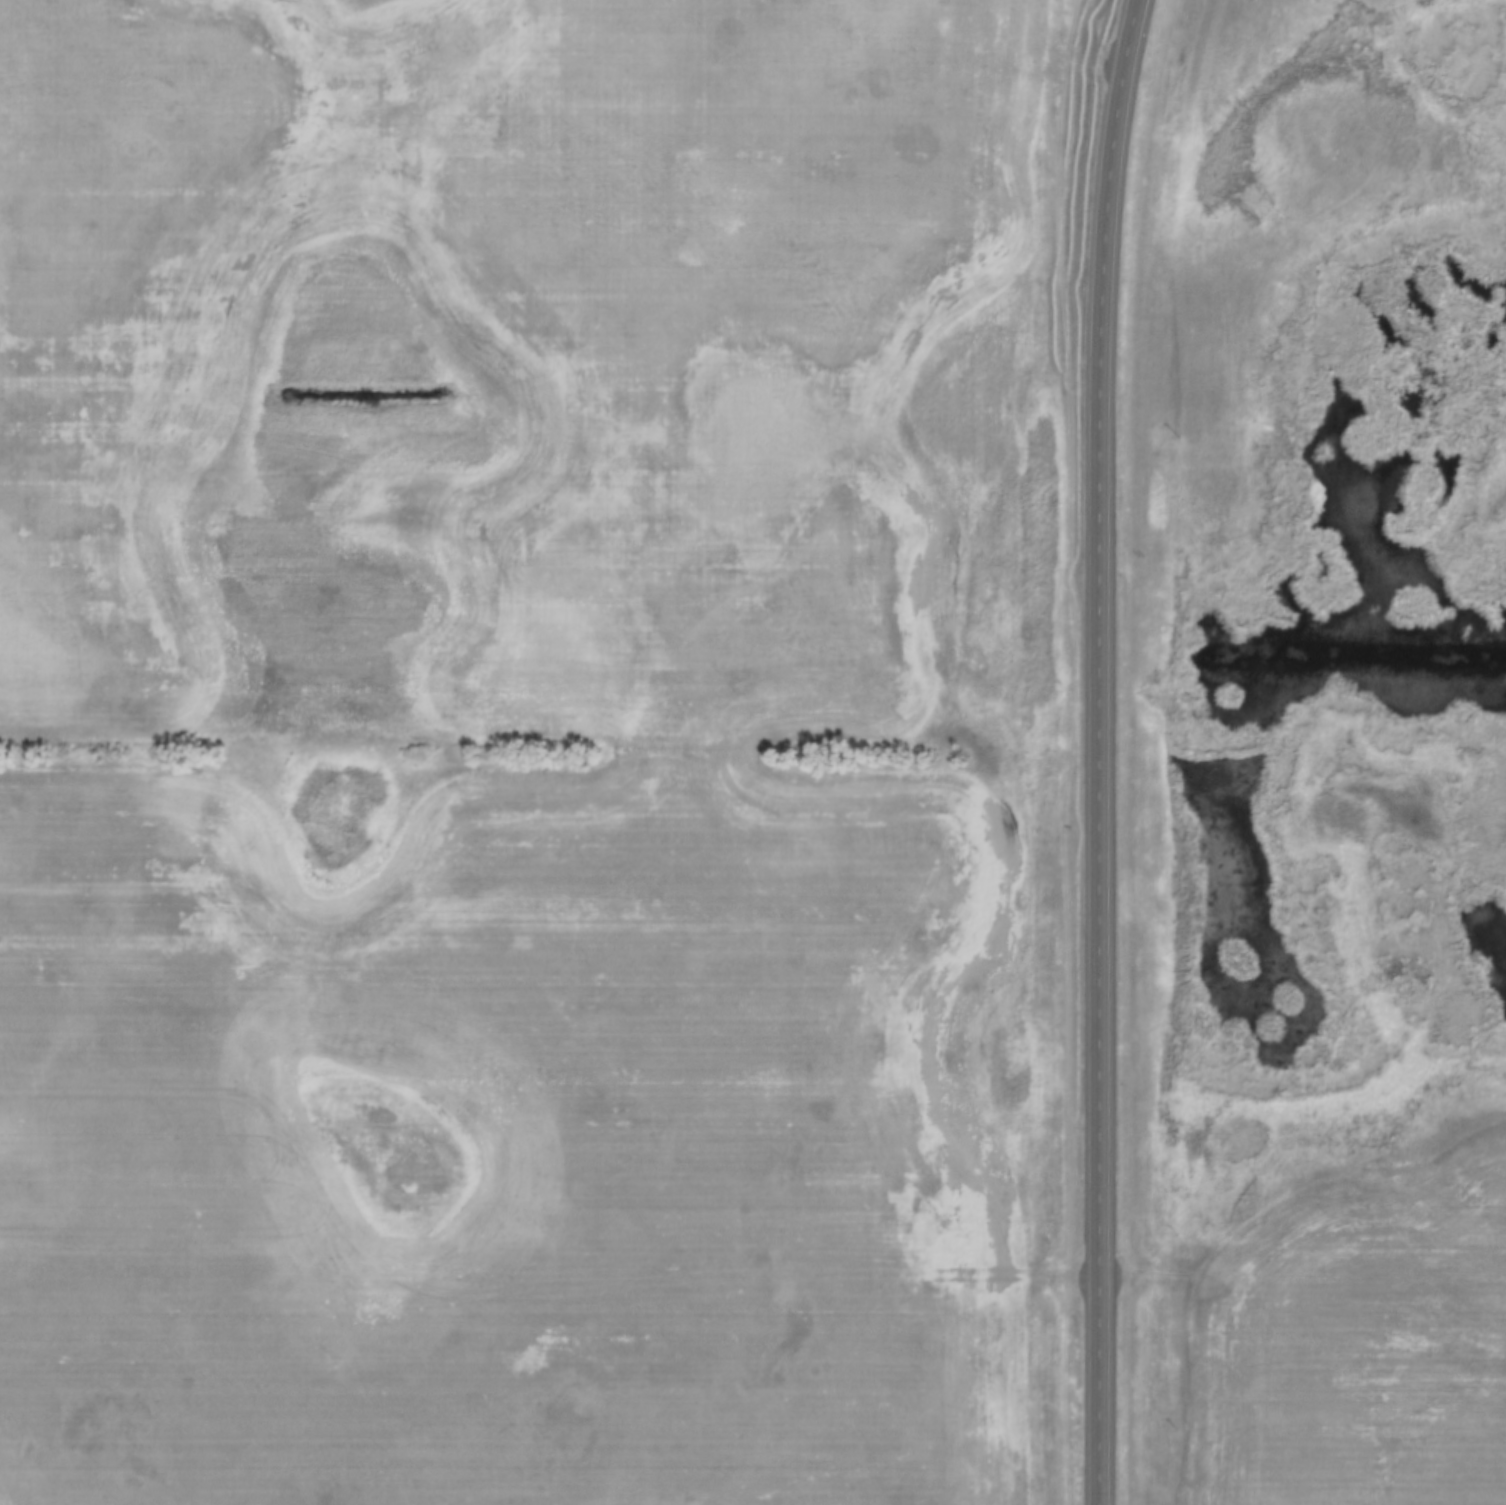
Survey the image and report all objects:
road: (1138, 4)
road: (1104, 755)

